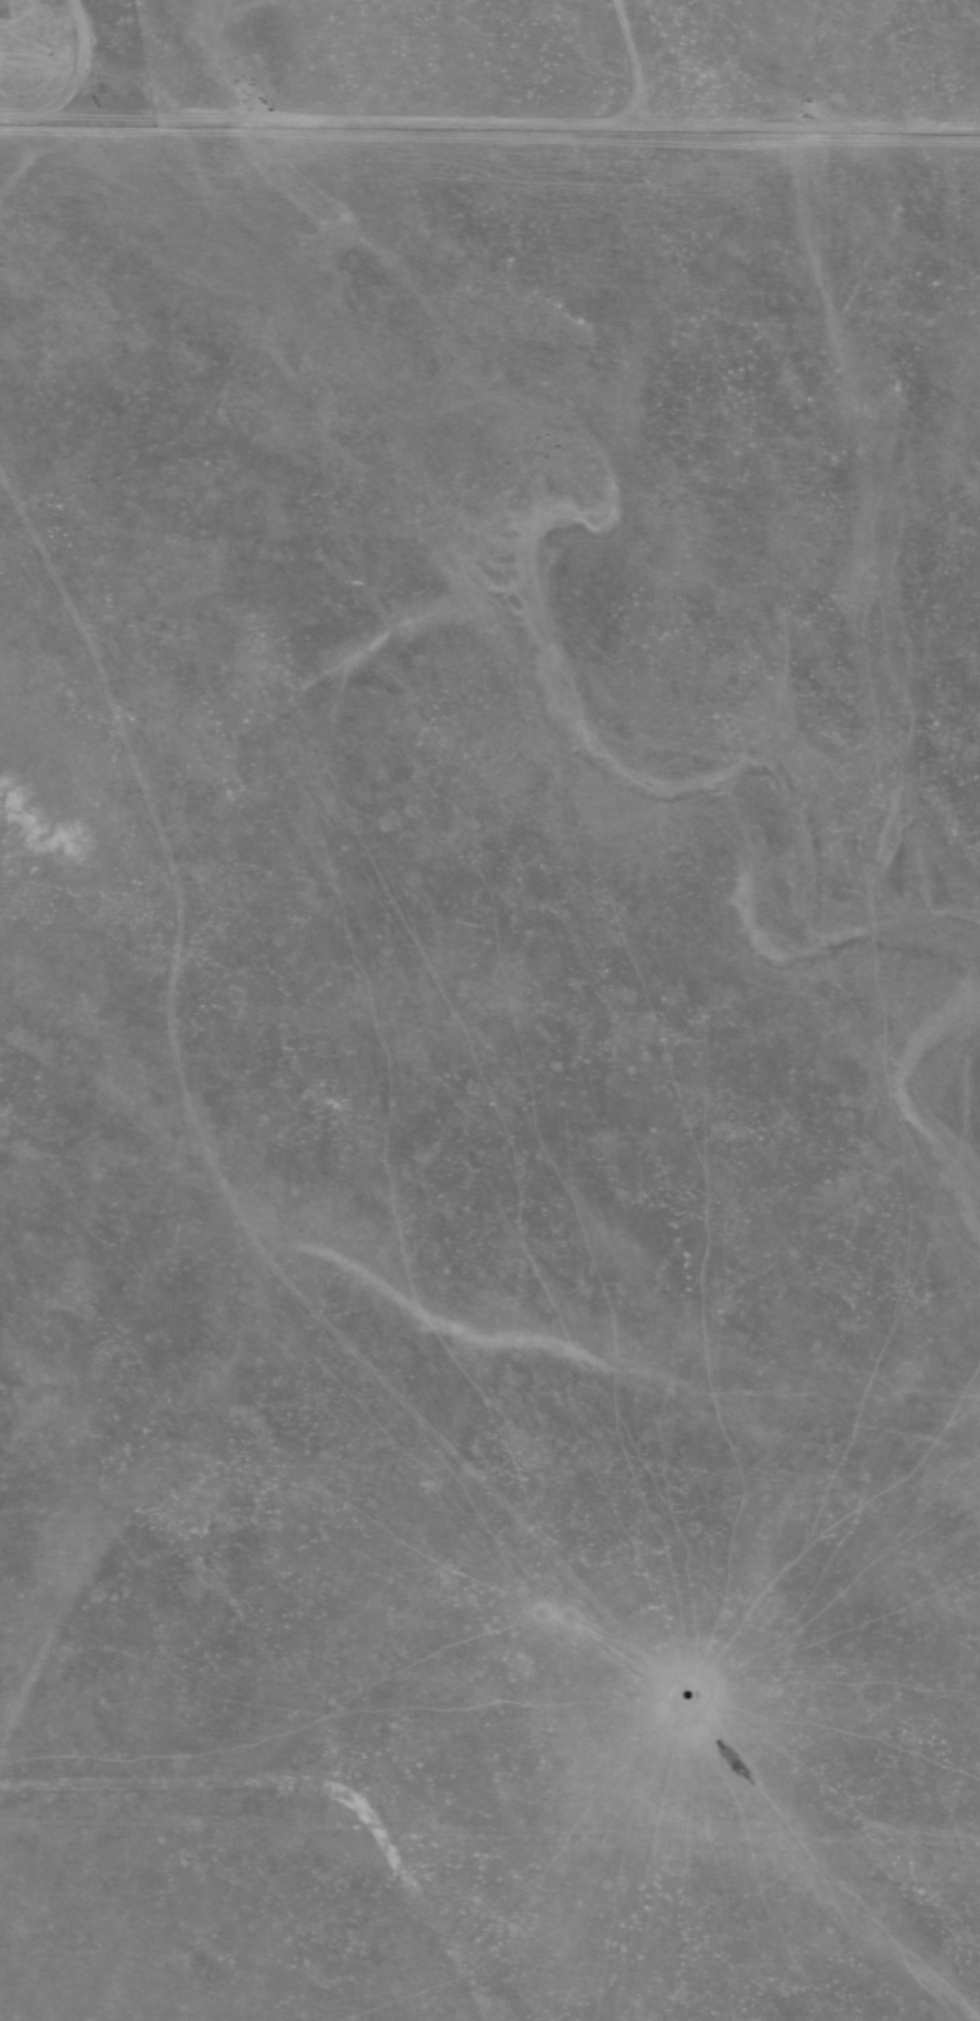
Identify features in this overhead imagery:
road: (490, 106)

